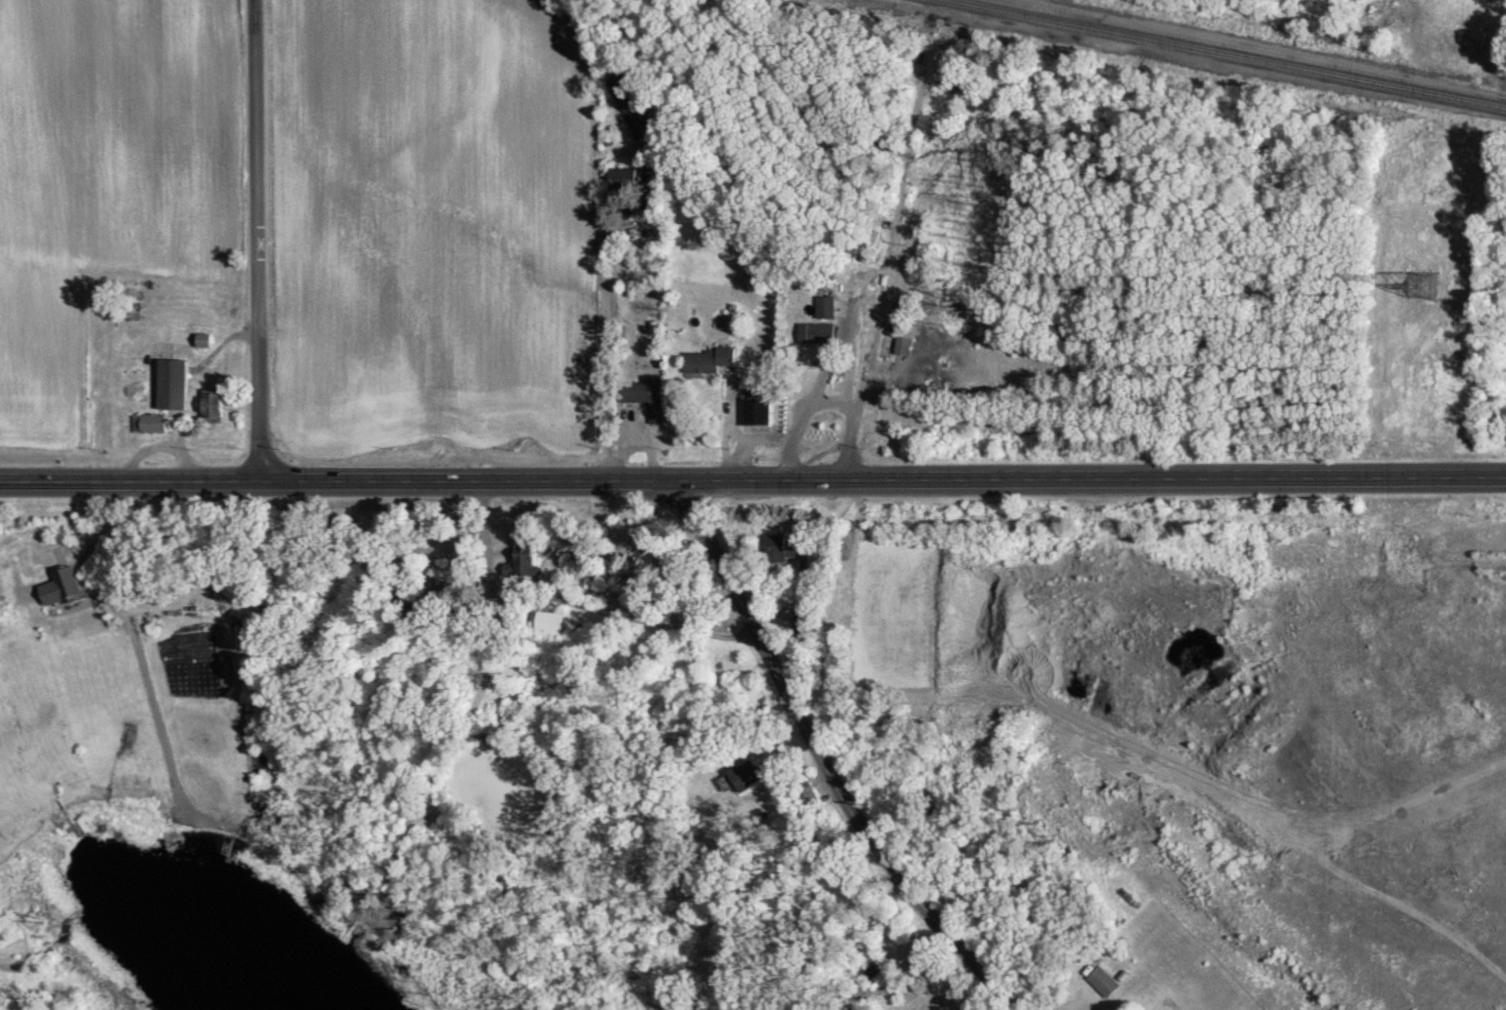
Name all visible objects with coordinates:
railway: (1228, 54)
building: (622, 175)
road: (258, 240)
road: (887, 245)
power tower: (1426, 286)
road: (604, 318)
building: (820, 330)
building: (202, 338)
building: (707, 357)
building: (172, 382)
building: (646, 392)
building: (212, 403)
building: (758, 408)
building: (153, 421)
road: (734, 435)
road: (752, 484)
building: (784, 546)
building: (523, 558)
road: (379, 563)
road: (577, 604)
building: (552, 622)
road: (829, 765)
building: (744, 774)
building: (805, 793)
building: (1103, 980)
building: (848, 1008)

